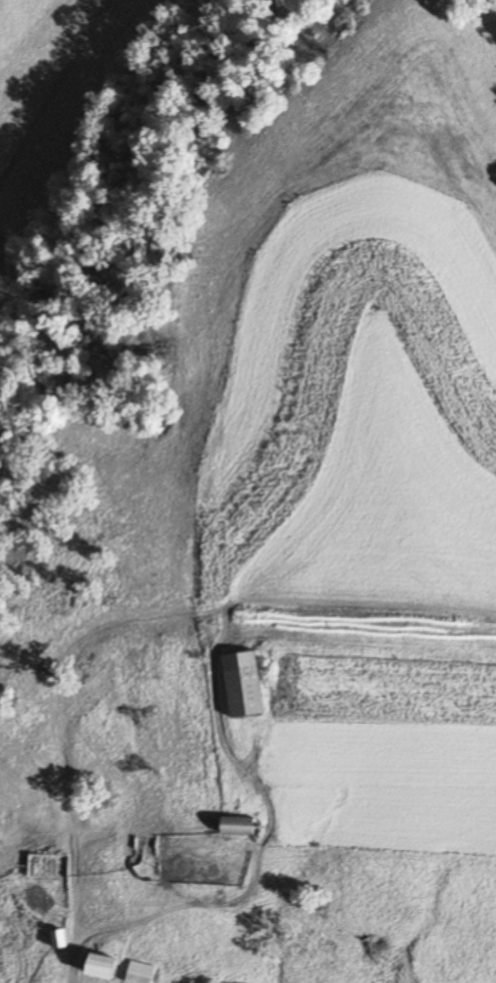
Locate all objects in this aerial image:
building: (59, 605)
building: (141, 661)
building: (244, 683)
building: (241, 824)
building: (140, 846)
building: (49, 865)
road: (87, 921)
building: (105, 967)
building: (141, 973)

